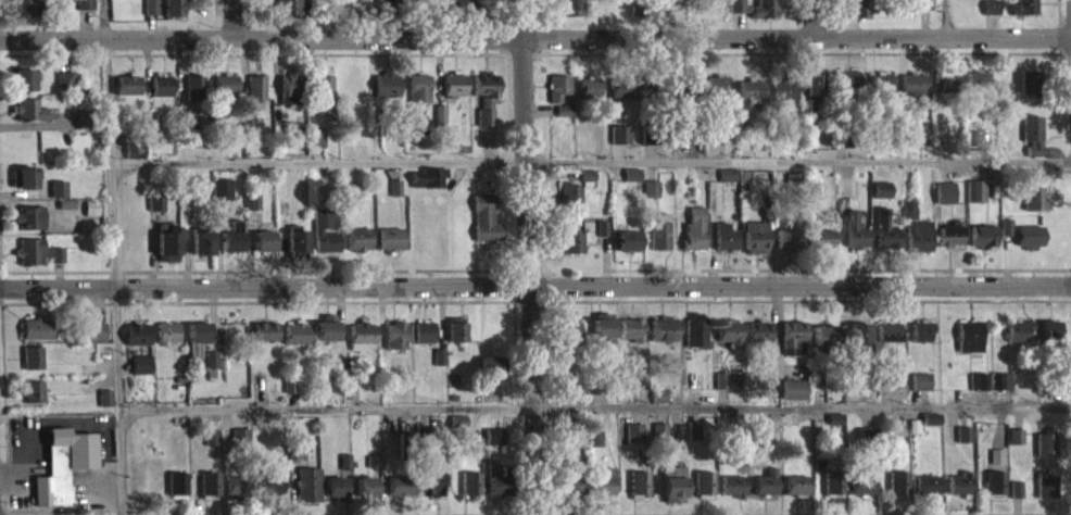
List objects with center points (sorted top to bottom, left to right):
building: (116, 0)
building: (990, 4)
building: (171, 5)
building: (1023, 5)
building: (286, 7)
building: (766, 7)
building: (857, 7)
building: (84, 11)
building: (923, 11)
building: (461, 13)
building: (568, 13)
building: (20, 14)
building: (150, 15)
building: (389, 16)
building: (990, 16)
building: (356, 17)
road: (375, 17)
road: (665, 17)
road: (811, 17)
road: (943, 17)
road: (231, 18)
road: (535, 36)
building: (22, 89)
building: (976, 89)
building: (66, 90)
building: (846, 90)
building: (1030, 90)
building: (945, 91)
building: (453, 93)
building: (815, 93)
building: (880, 93)
building: (127, 95)
building: (161, 95)
building: (225, 95)
building: (386, 95)
building: (717, 95)
building: (912, 96)
building: (193, 97)
building: (255, 97)
building: (558, 97)
building: (622, 97)
building: (288, 98)
building: (418, 98)
building: (589, 98)
building: (783, 98)
building: (322, 99)
building: (752, 99)
building: (484, 105)
building: (806, 116)
building: (28, 118)
building: (564, 120)
building: (439, 124)
building: (745, 125)
building: (80, 128)
building: (152, 130)
building: (620, 143)
building: (1031, 143)
building: (910, 146)
building: (316, 147)
road: (589, 159)
building: (694, 160)
building: (133, 161)
building: (632, 184)
building: (727, 185)
building: (22, 187)
building: (428, 187)
building: (792, 190)
building: (222, 198)
building: (394, 198)
building: (652, 198)
building: (56, 199)
building: (849, 199)
building: (881, 199)
building: (353, 201)
building: (974, 201)
building: (570, 202)
building: (944, 202)
building: (1030, 202)
building: (155, 212)
building: (65, 213)
building: (88, 217)
building: (908, 218)
building: (694, 226)
building: (28, 227)
building: (659, 228)
building: (484, 229)
building: (887, 231)
building: (949, 231)
building: (983, 231)
building: (1029, 231)
building: (919, 233)
building: (724, 234)
building: (390, 235)
building: (787, 235)
building: (820, 235)
building: (297, 236)
building: (357, 236)
building: (1005, 236)
building: (263, 237)
building: (629, 237)
building: (230, 238)
building: (326, 239)
building: (949, 244)
building: (789, 246)
building: (982, 246)
building: (1029, 246)
building: (724, 247)
building: (755, 247)
building: (856, 247)
building: (821, 248)
building: (357, 249)
building: (389, 249)
building: (263, 250)
building: (629, 250)
building: (295, 251)
building: (574, 251)
building: (166, 252)
building: (201, 252)
road: (112, 257)
road: (526, 257)
building: (36, 261)
road: (534, 282)
building: (603, 325)
building: (630, 325)
building: (664, 326)
building: (326, 327)
building: (758, 327)
building: (793, 327)
building: (264, 328)
building: (858, 328)
building: (889, 328)
building: (921, 328)
building: (1018, 328)
building: (565, 329)
building: (695, 329)
building: (362, 330)
building: (730, 330)
building: (297, 331)
building: (824, 331)
building: (969, 334)
building: (37, 338)
building: (325, 338)
building: (630, 338)
building: (663, 338)
building: (455, 339)
building: (1047, 339)
building: (759, 340)
building: (1017, 340)
building: (94, 341)
building: (166, 341)
building: (264, 341)
building: (423, 341)
building: (569, 341)
building: (887, 341)
building: (921, 341)
building: (295, 342)
building: (730, 342)
building: (858, 342)
building: (137, 343)
building: (394, 344)
building: (824, 344)
building: (361, 346)
building: (196, 347)
building: (793, 348)
building: (439, 366)
building: (31, 367)
building: (210, 368)
building: (139, 374)
building: (489, 374)
building: (564, 389)
building: (721, 389)
building: (889, 389)
building: (978, 390)
building: (1000, 390)
building: (920, 391)
building: (259, 393)
building: (592, 393)
building: (288, 394)
building: (794, 399)
building: (31, 401)
building: (104, 406)
road: (595, 417)
building: (931, 428)
building: (835, 430)
building: (693, 440)
building: (660, 441)
building: (633, 442)
building: (866, 443)
building: (962, 443)
building: (239, 444)
building: (763, 444)
building: (900, 444)
building: (492, 445)
building: (1013, 445)
building: (211, 447)
building: (594, 448)
building: (1044, 453)
building: (293, 463)
building: (995, 466)
building: (62, 475)
building: (570, 490)
building: (209, 492)
building: (469, 492)
building: (602, 492)
building: (704, 492)
building: (765, 492)
building: (833, 492)
building: (897, 492)
building: (994, 492)
building: (176, 493)
building: (306, 493)
building: (430, 493)
building: (496, 493)
building: (639, 493)
building: (672, 493)
building: (861, 493)
building: (925, 493)
building: (958, 493)
building: (796, 494)
building: (236, 495)
building: (268, 495)
building: (364, 495)
building: (398, 495)
building: (732, 495)
building: (1045, 495)
building: (333, 498)
building: (1015, 499)
road: (809, 512)

